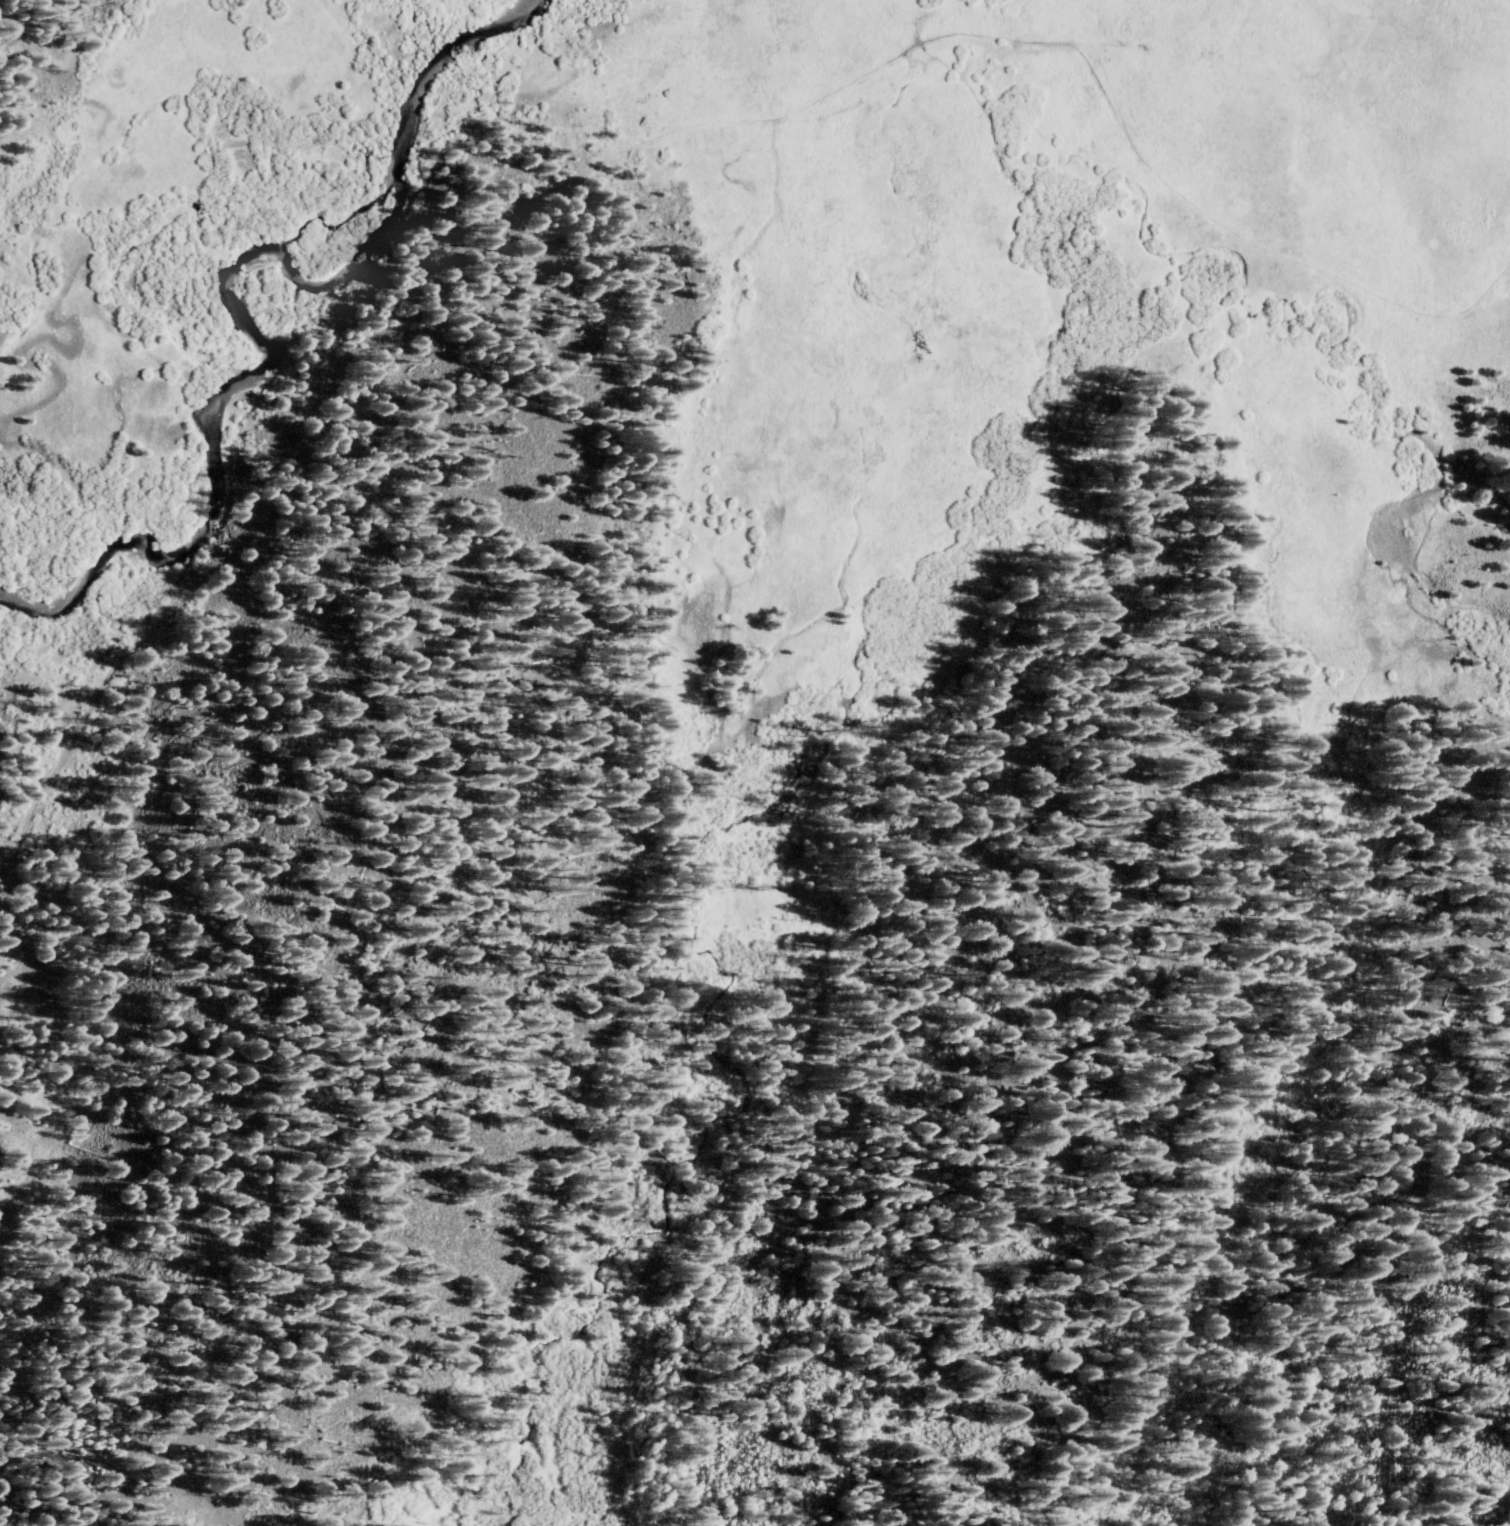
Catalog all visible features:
road: (641, 144)
river: (241, 307)
road: (13, 943)

